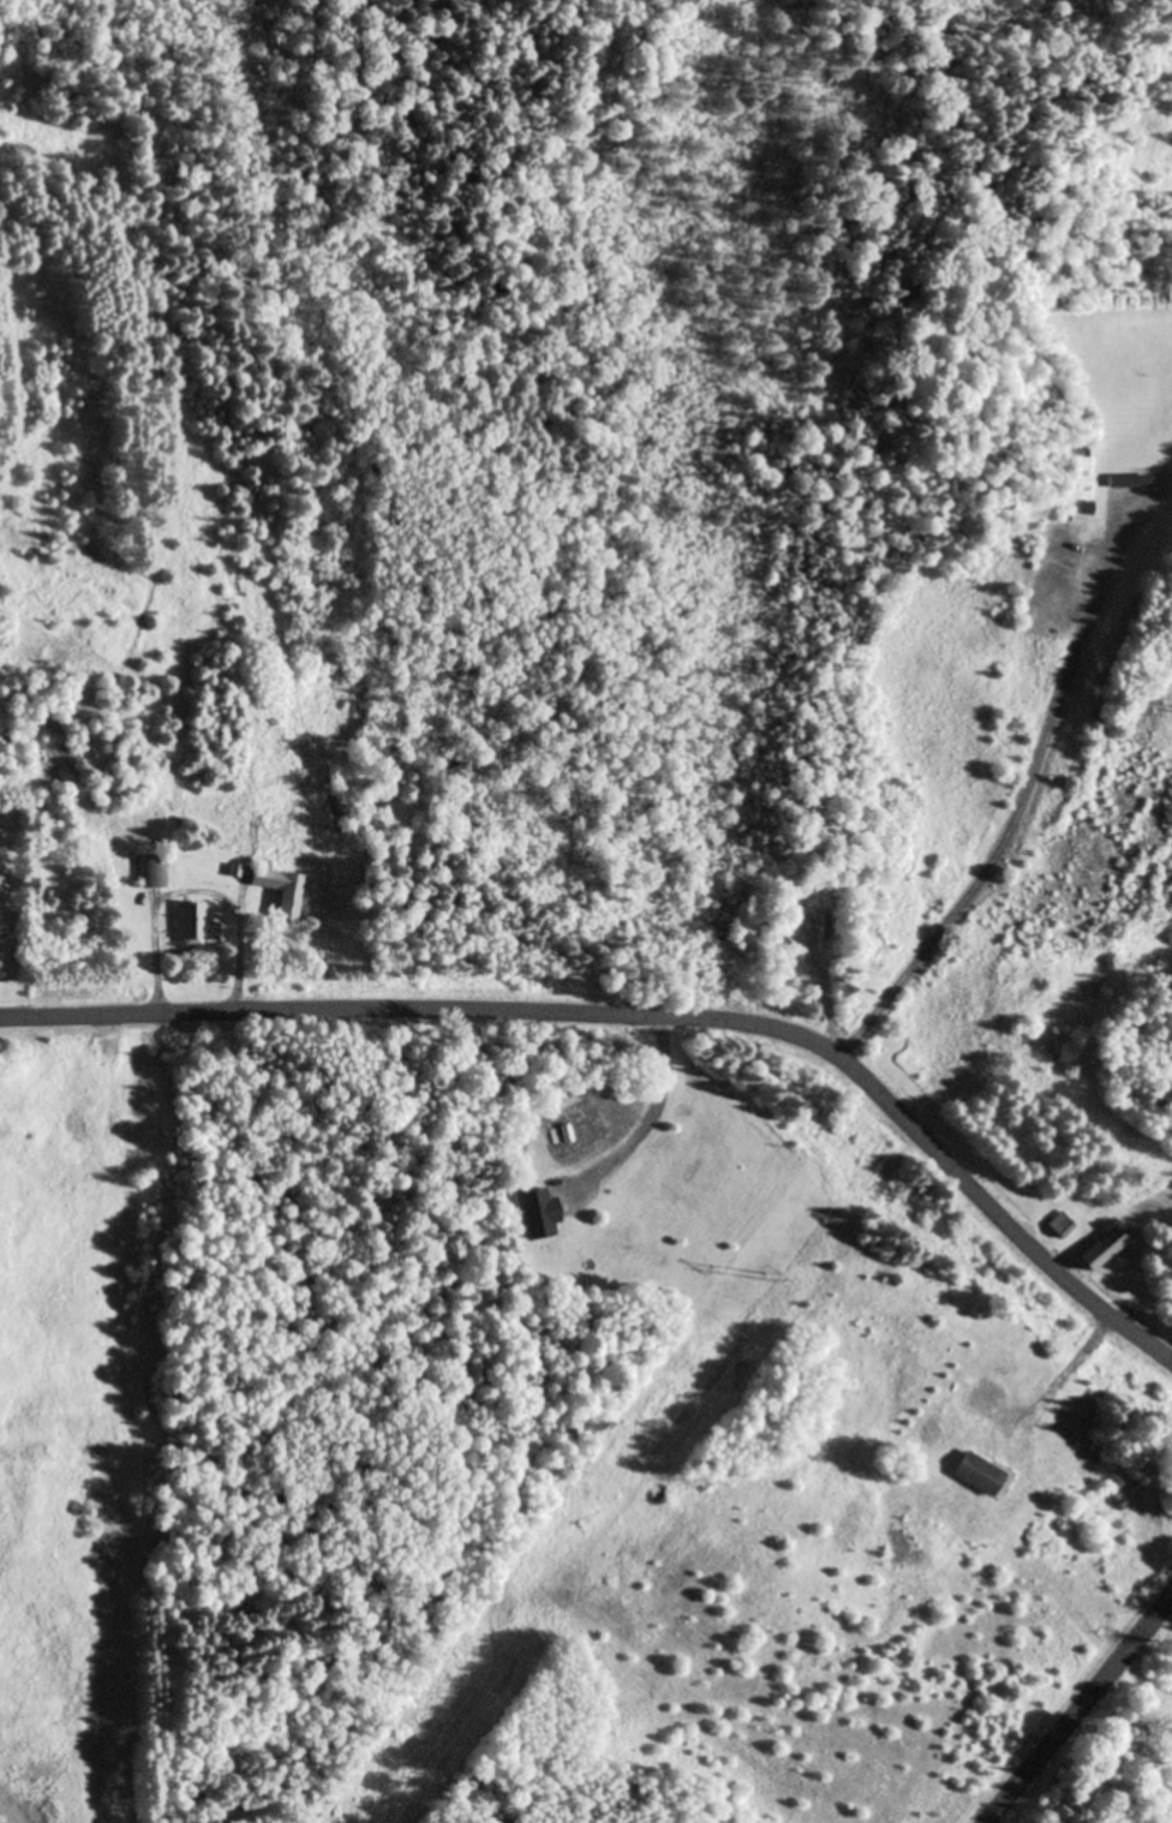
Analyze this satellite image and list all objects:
building: (1128, 483)
park: (767, 507)
building: (249, 848)
building: (153, 873)
building: (280, 892)
building: (196, 927)
road: (651, 1012)
building: (537, 1215)
building: (1060, 1227)
building: (1102, 1249)
power tower: (771, 1280)
building: (977, 1476)
road: (1083, 1714)

